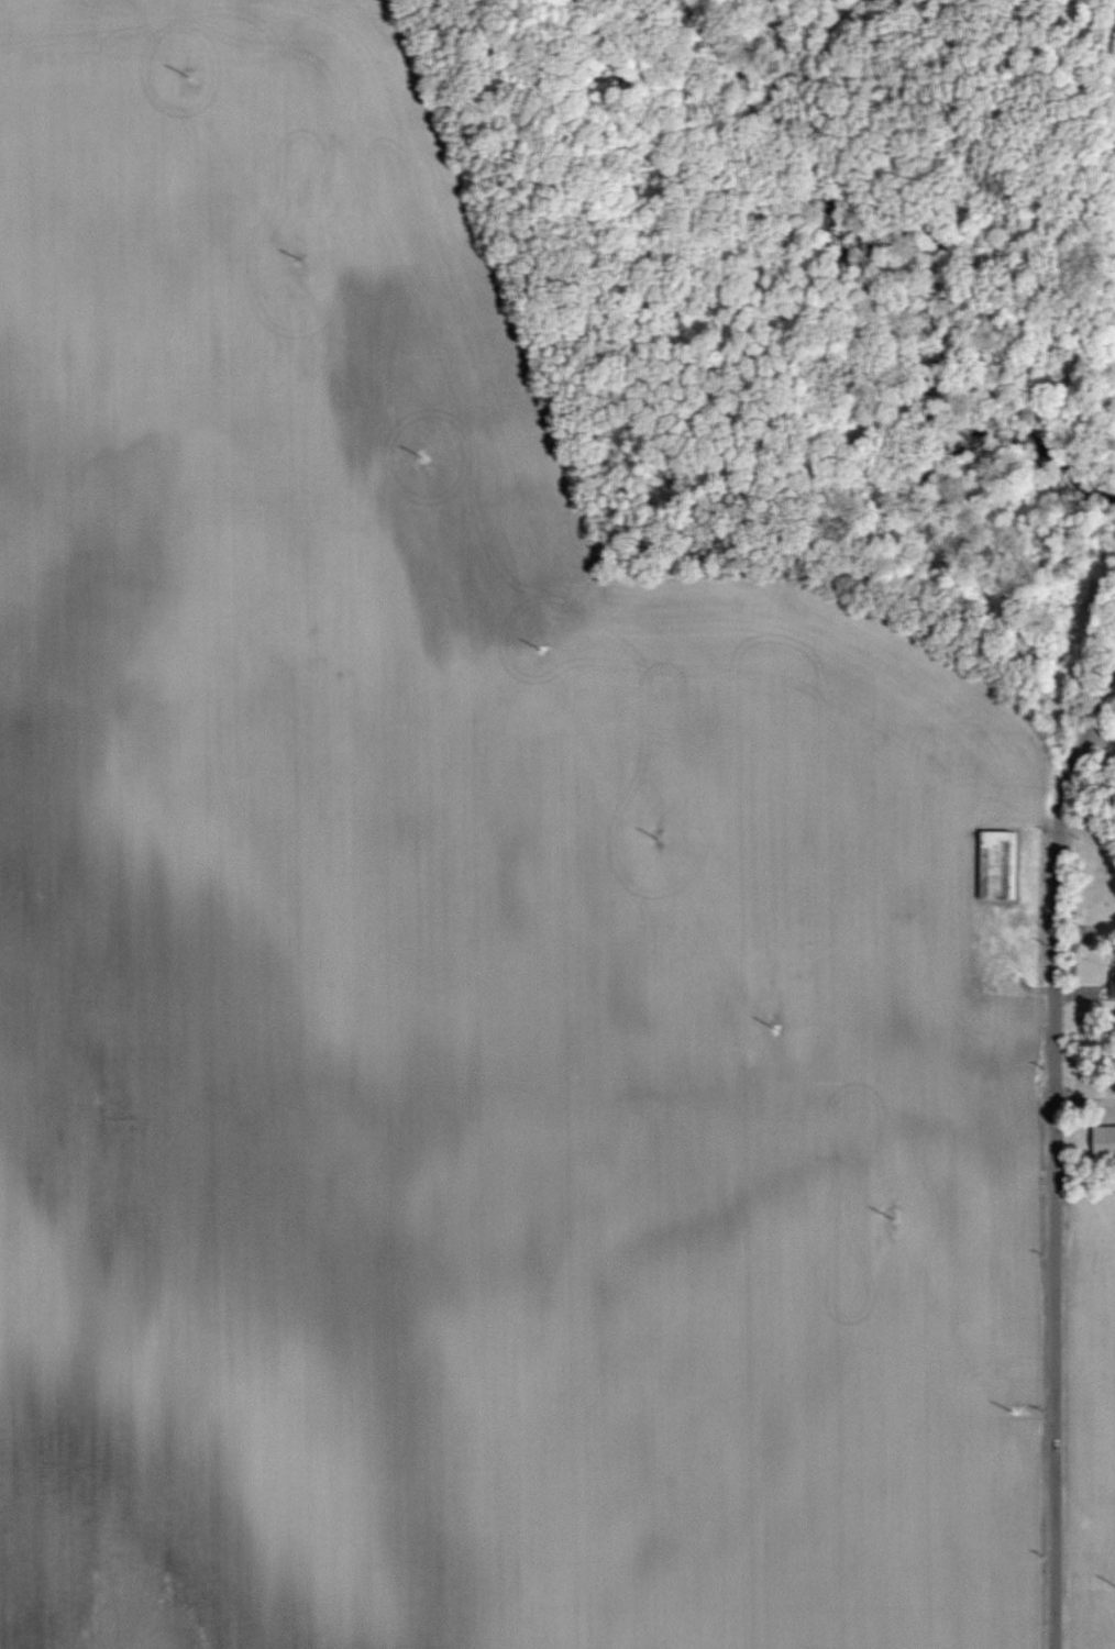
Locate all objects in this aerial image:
road: (1099, 732)
building: (994, 864)
building: (1111, 985)
road: (1088, 1095)
building: (1102, 1140)
road: (1059, 1150)

